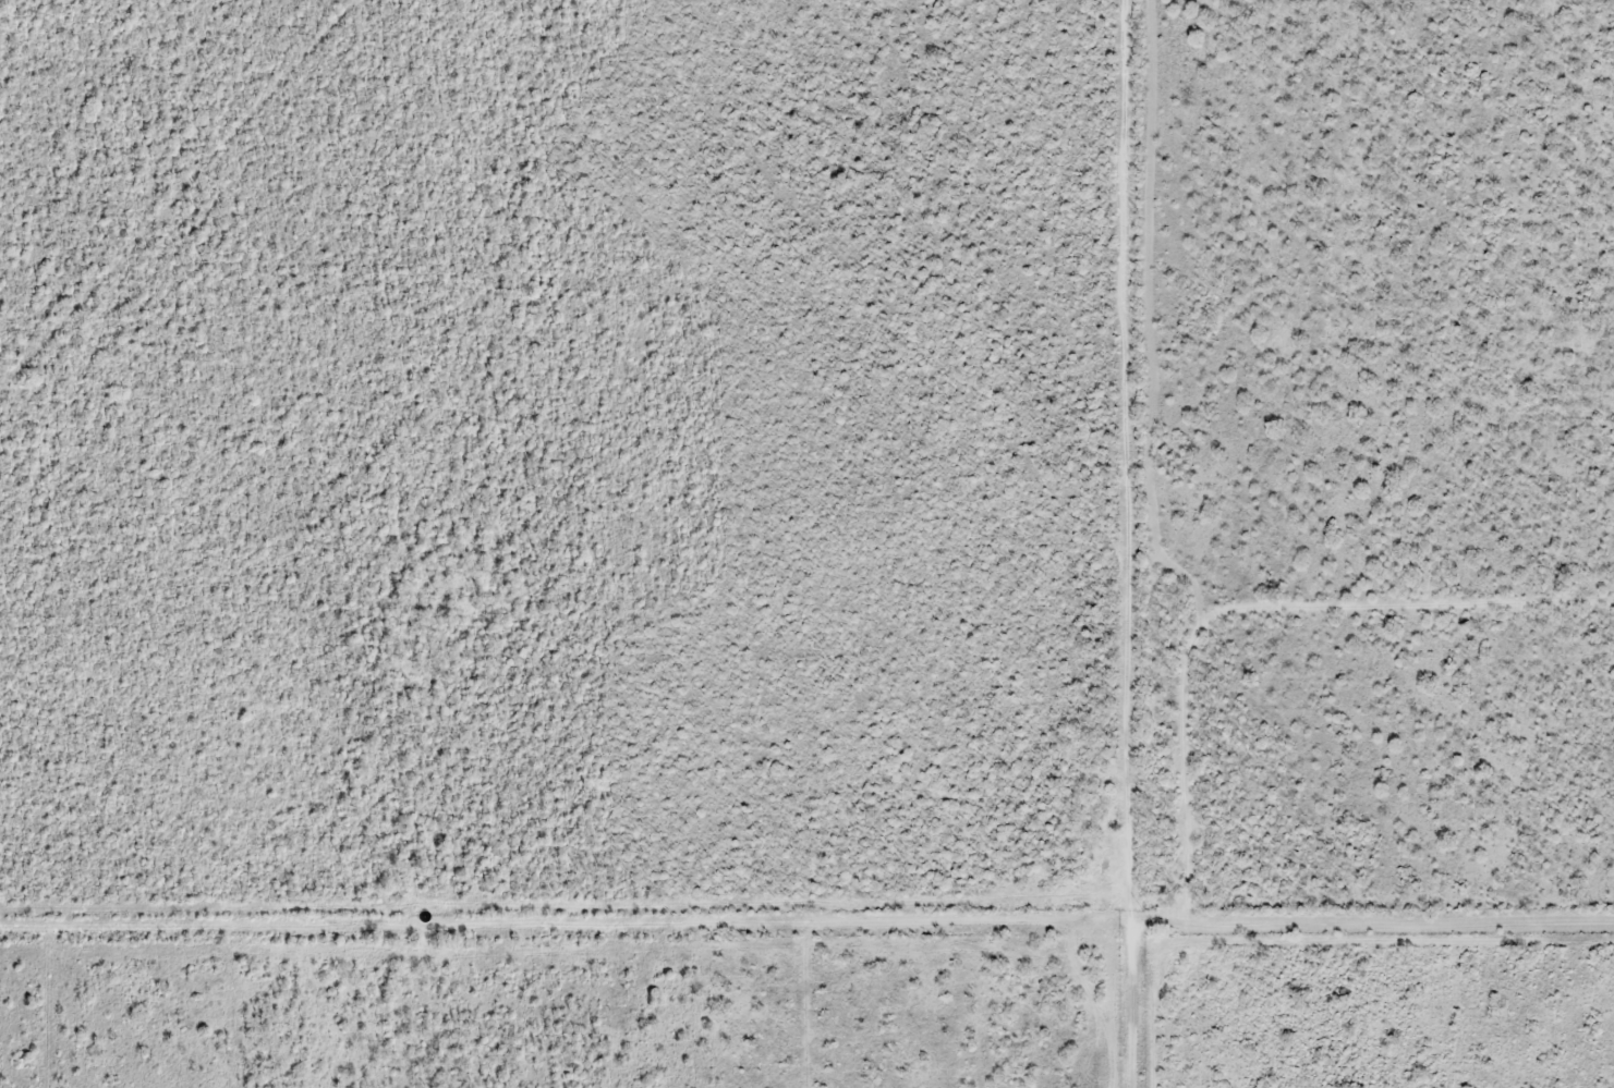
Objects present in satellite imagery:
road: (1132, 1007)

